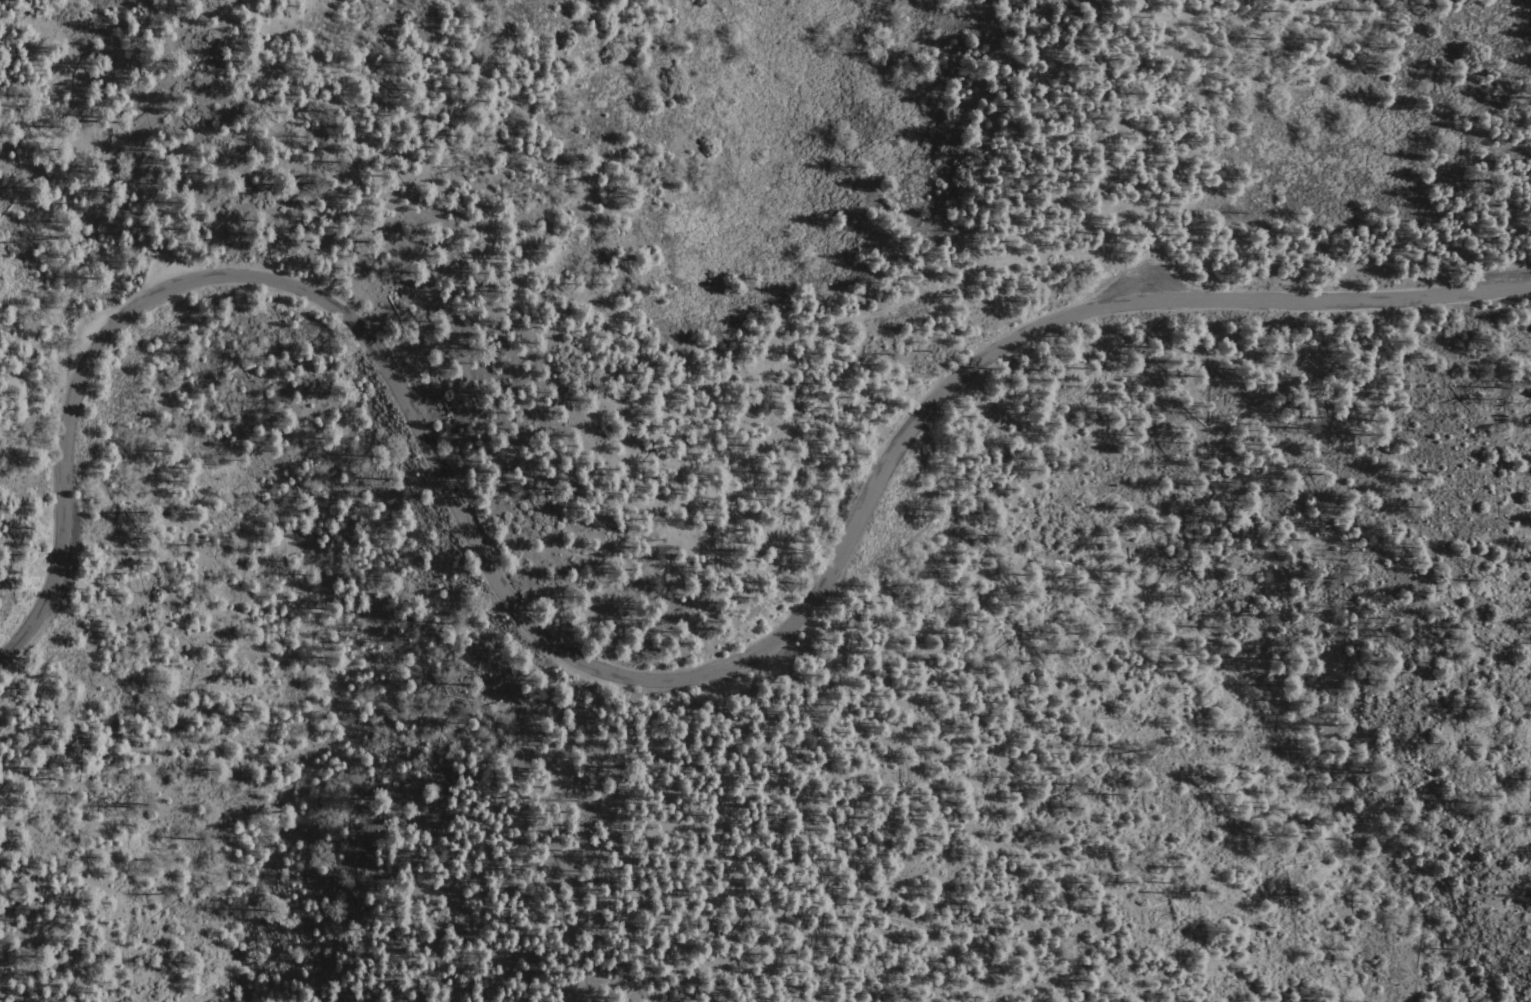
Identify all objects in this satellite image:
parking lot: (171, 269)
parking lot: (1154, 286)
road: (616, 673)

